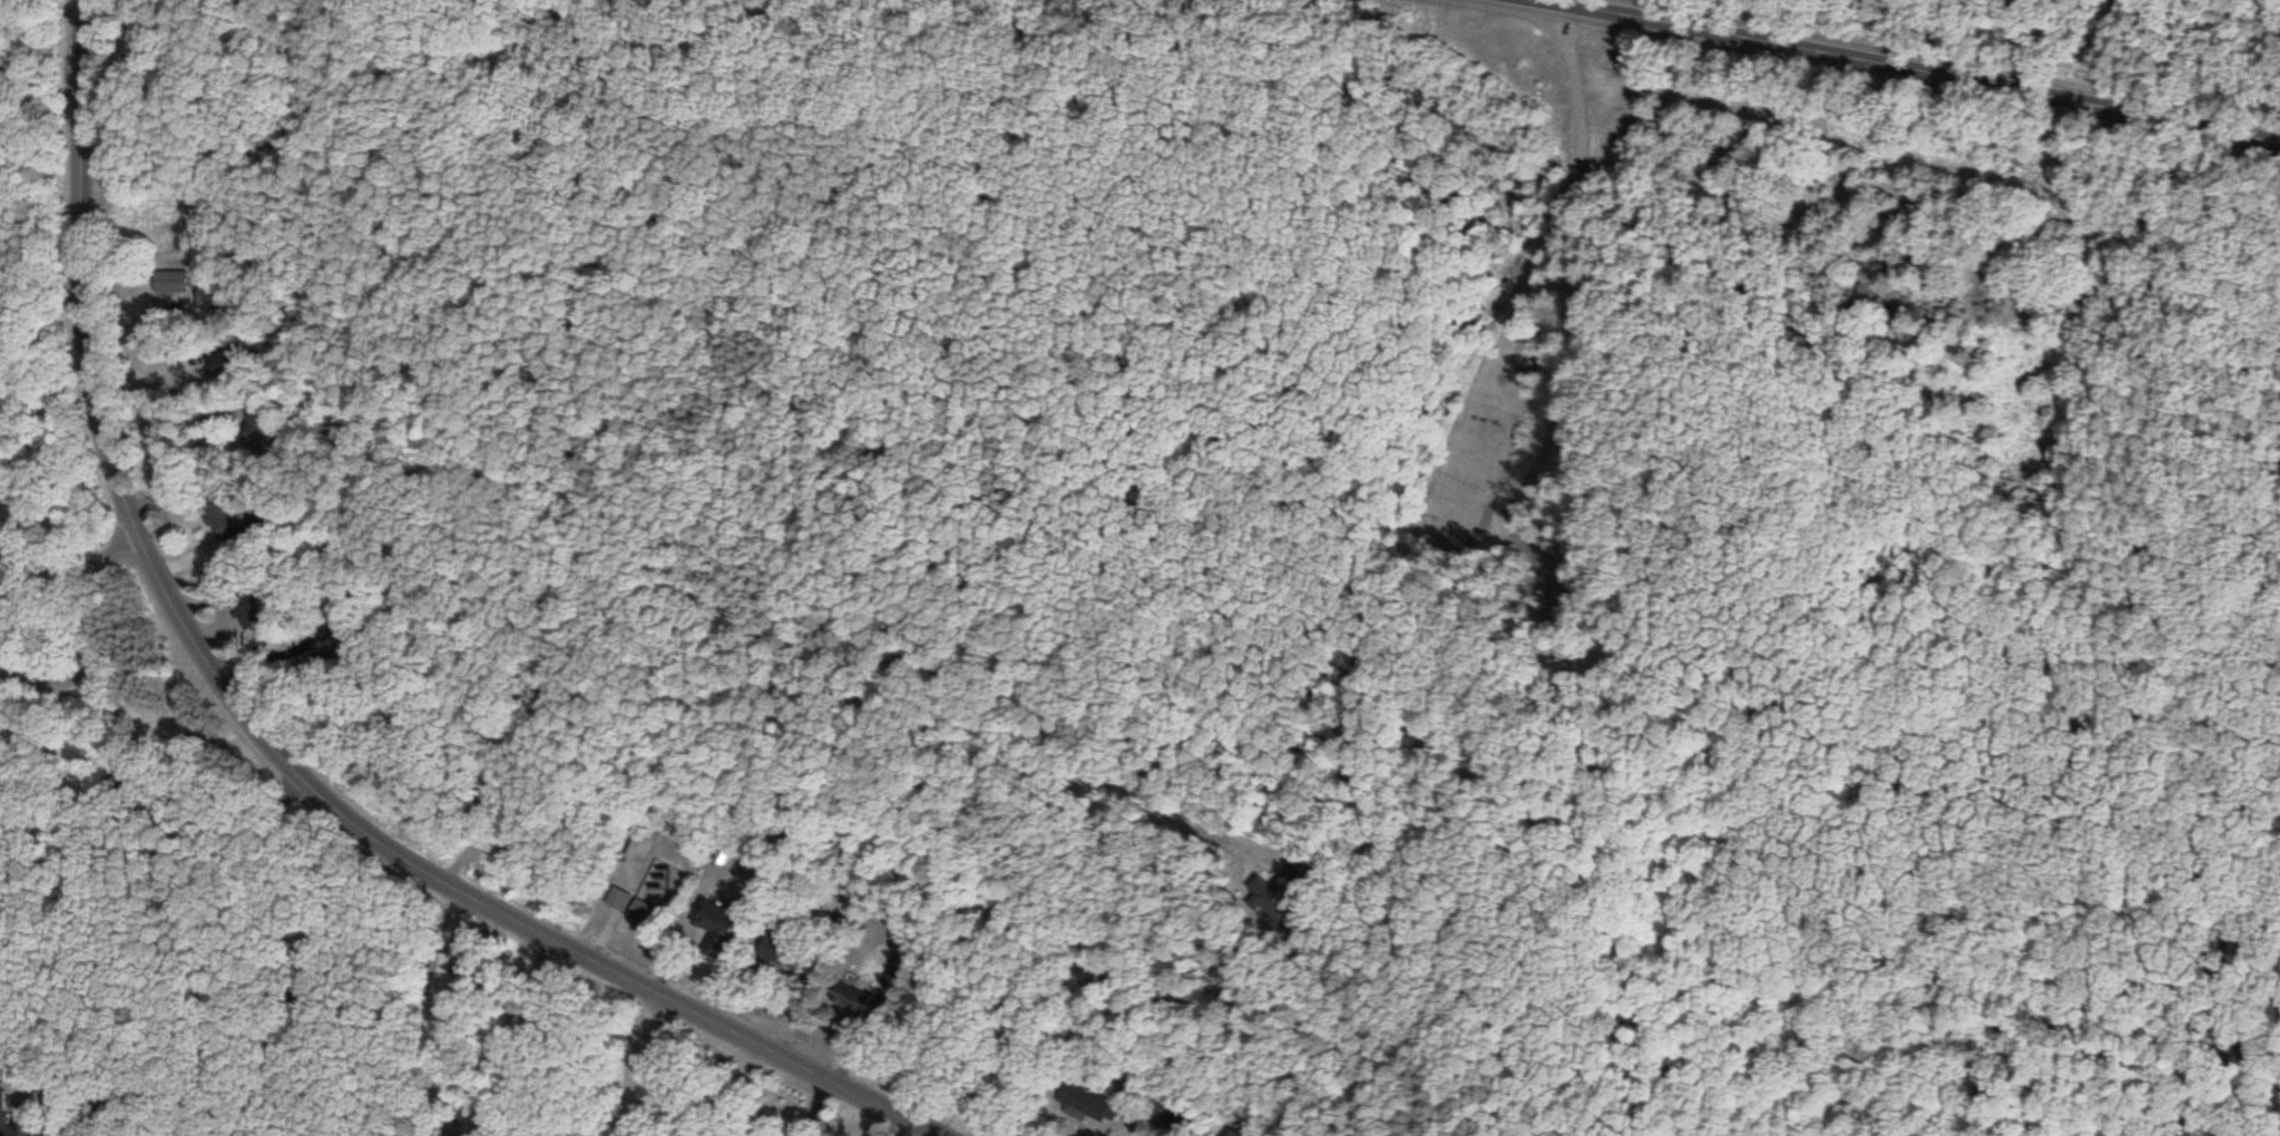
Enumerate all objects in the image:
road: (1917, 61)
road: (1578, 179)
building: (168, 284)
park: (1478, 466)
building: (218, 520)
road: (92, 587)
road: (48, 682)
road: (264, 741)
building: (640, 849)
road: (112, 880)
building: (617, 902)
building: (642, 915)
building: (715, 923)
building: (774, 953)
building: (1086, 1108)
building: (3, 1114)
building: (1234, 1134)

